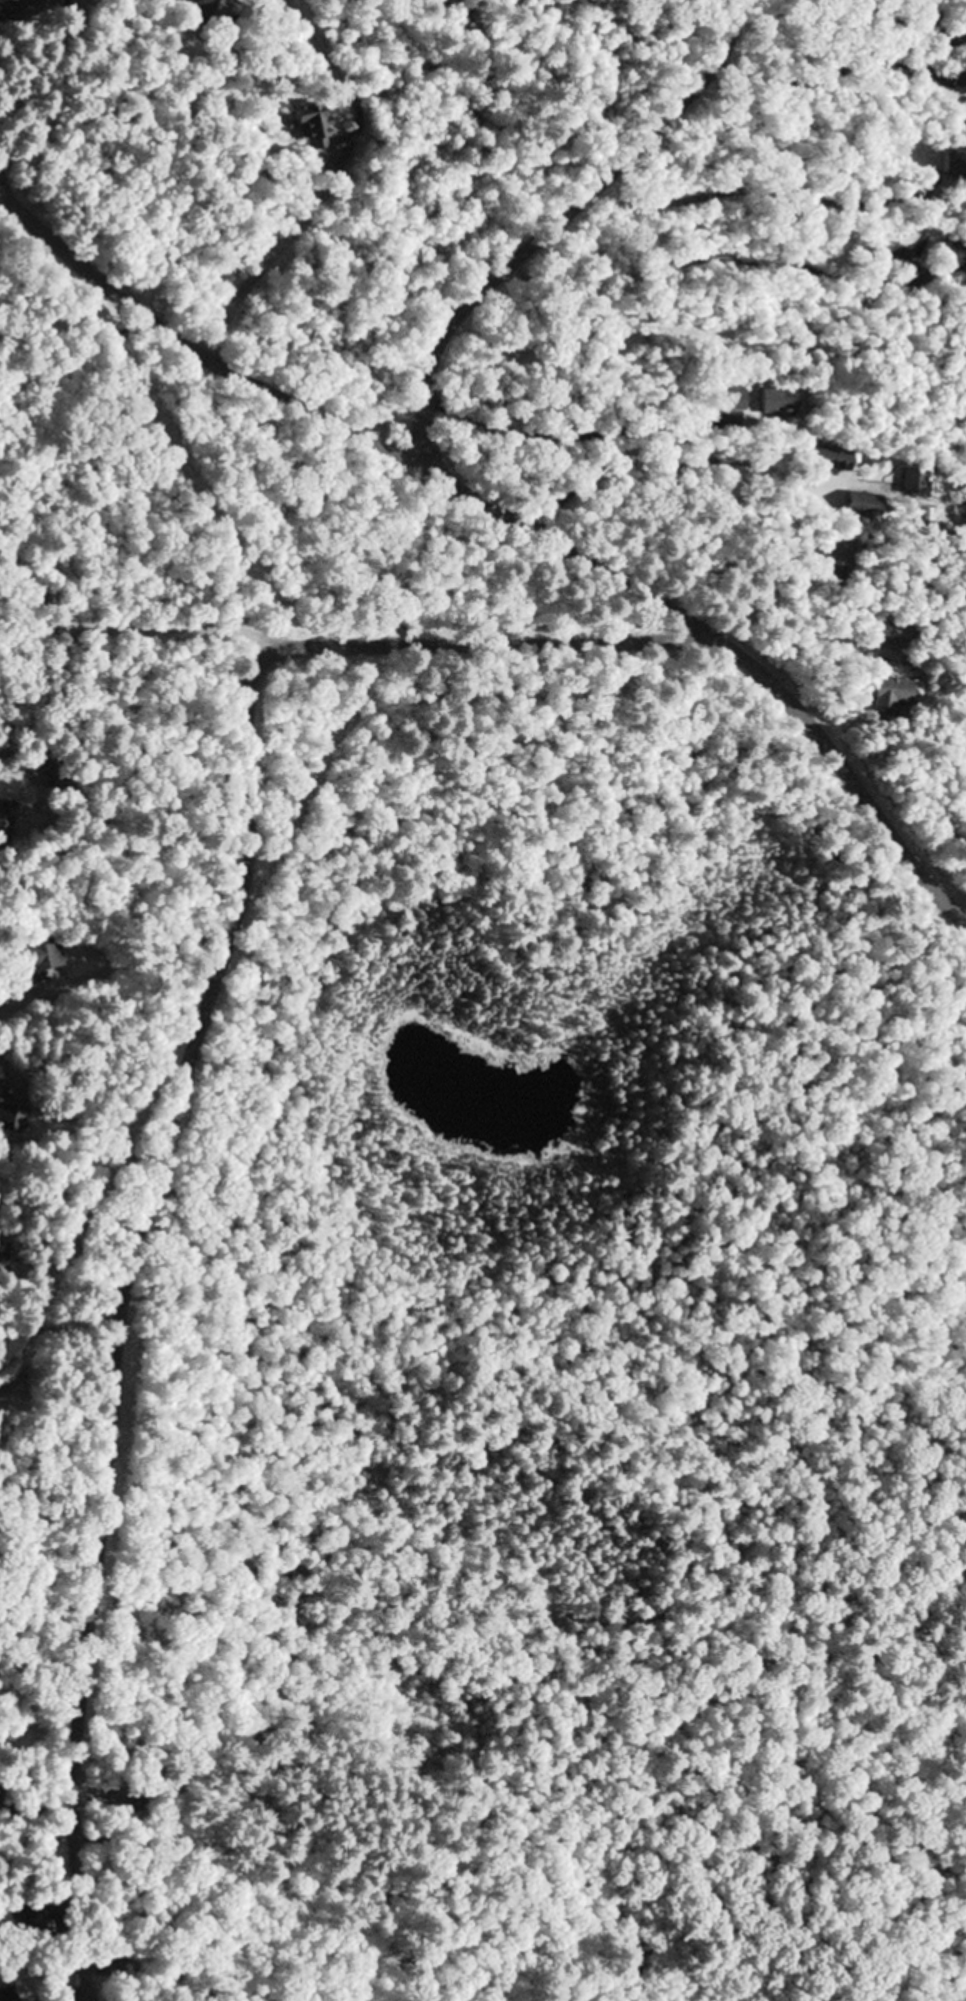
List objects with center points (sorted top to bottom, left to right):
park: (22, 11)
building: (212, 11)
road: (38, 72)
building: (965, 111)
building: (312, 122)
building: (948, 164)
road: (552, 225)
building: (950, 256)
building: (729, 402)
building: (769, 403)
road: (334, 423)
road: (669, 436)
building: (828, 459)
building: (847, 504)
building: (830, 574)
building: (887, 696)
road: (838, 769)
building: (7, 822)
building: (36, 957)
road: (171, 1117)
building: (15, 1118)
park: (920, 1365)
building: (14, 1922)
building: (10, 1994)

